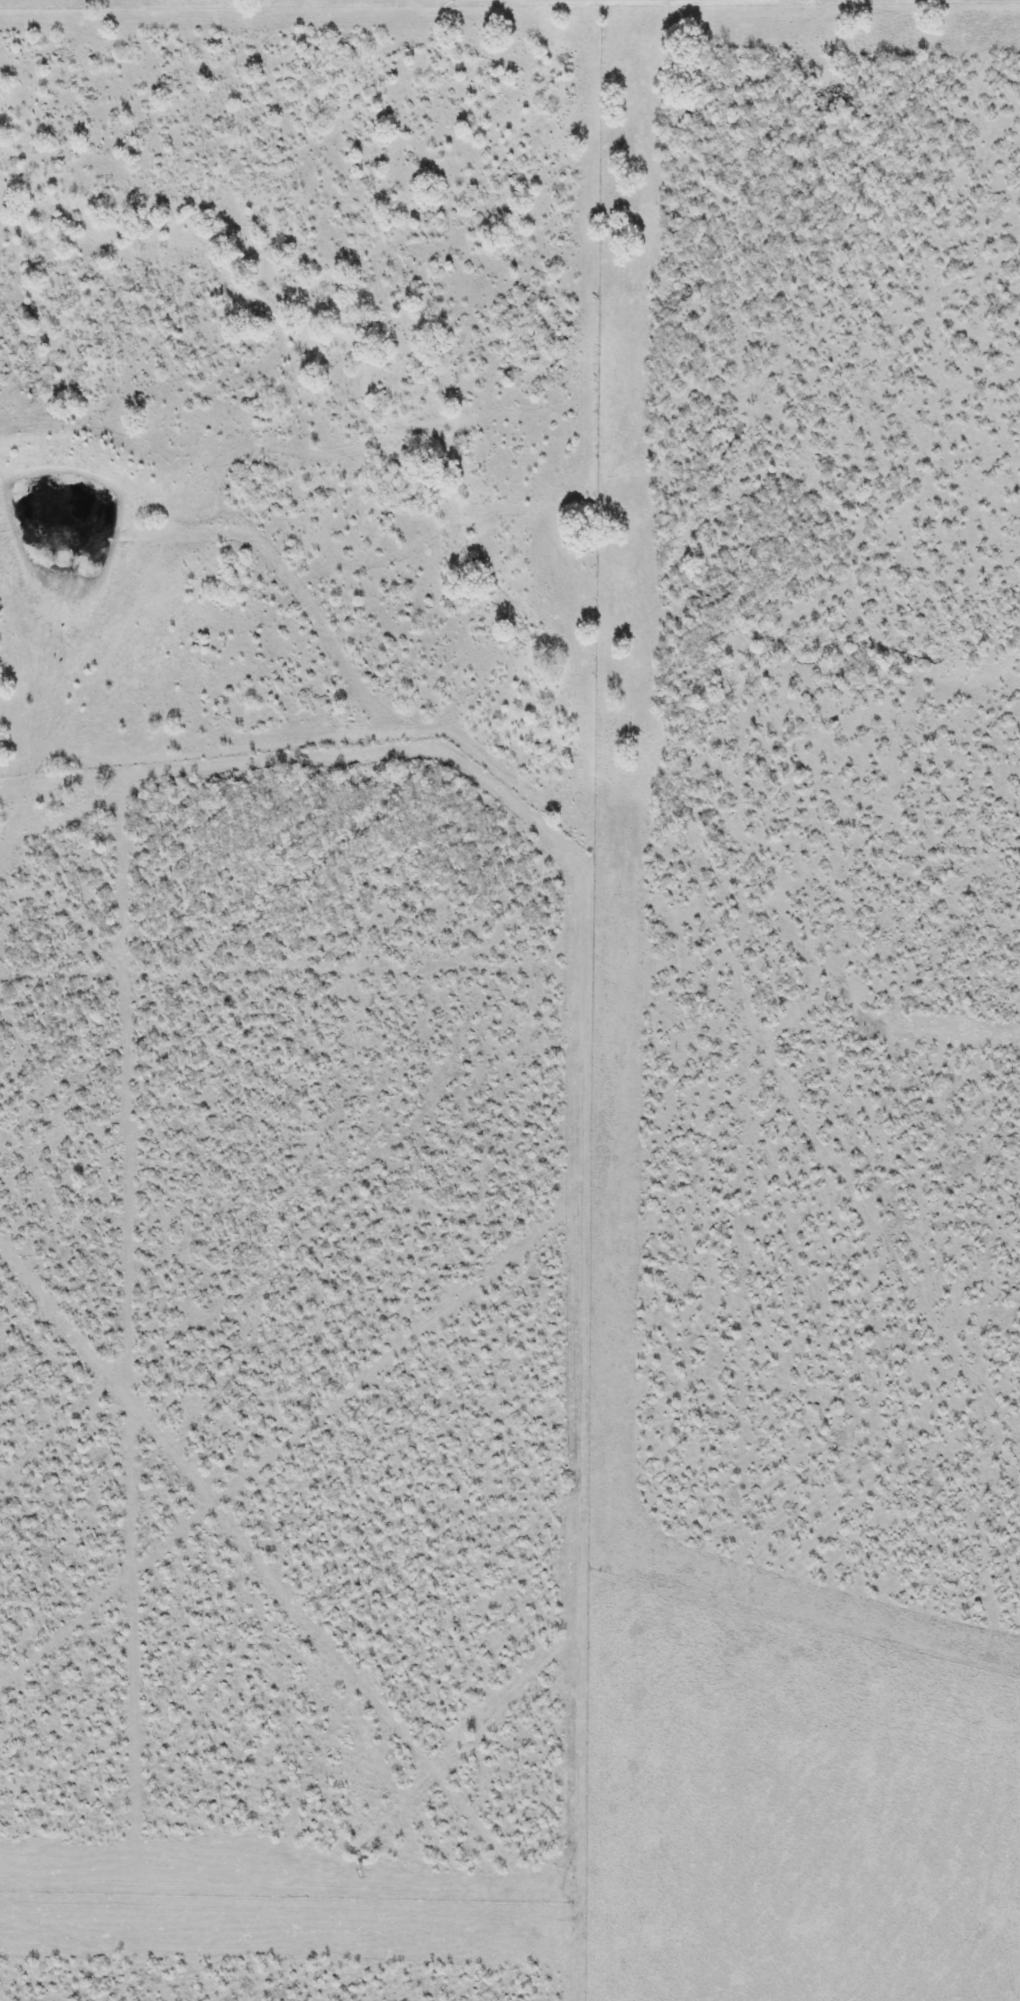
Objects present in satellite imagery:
road: (561, 1)

